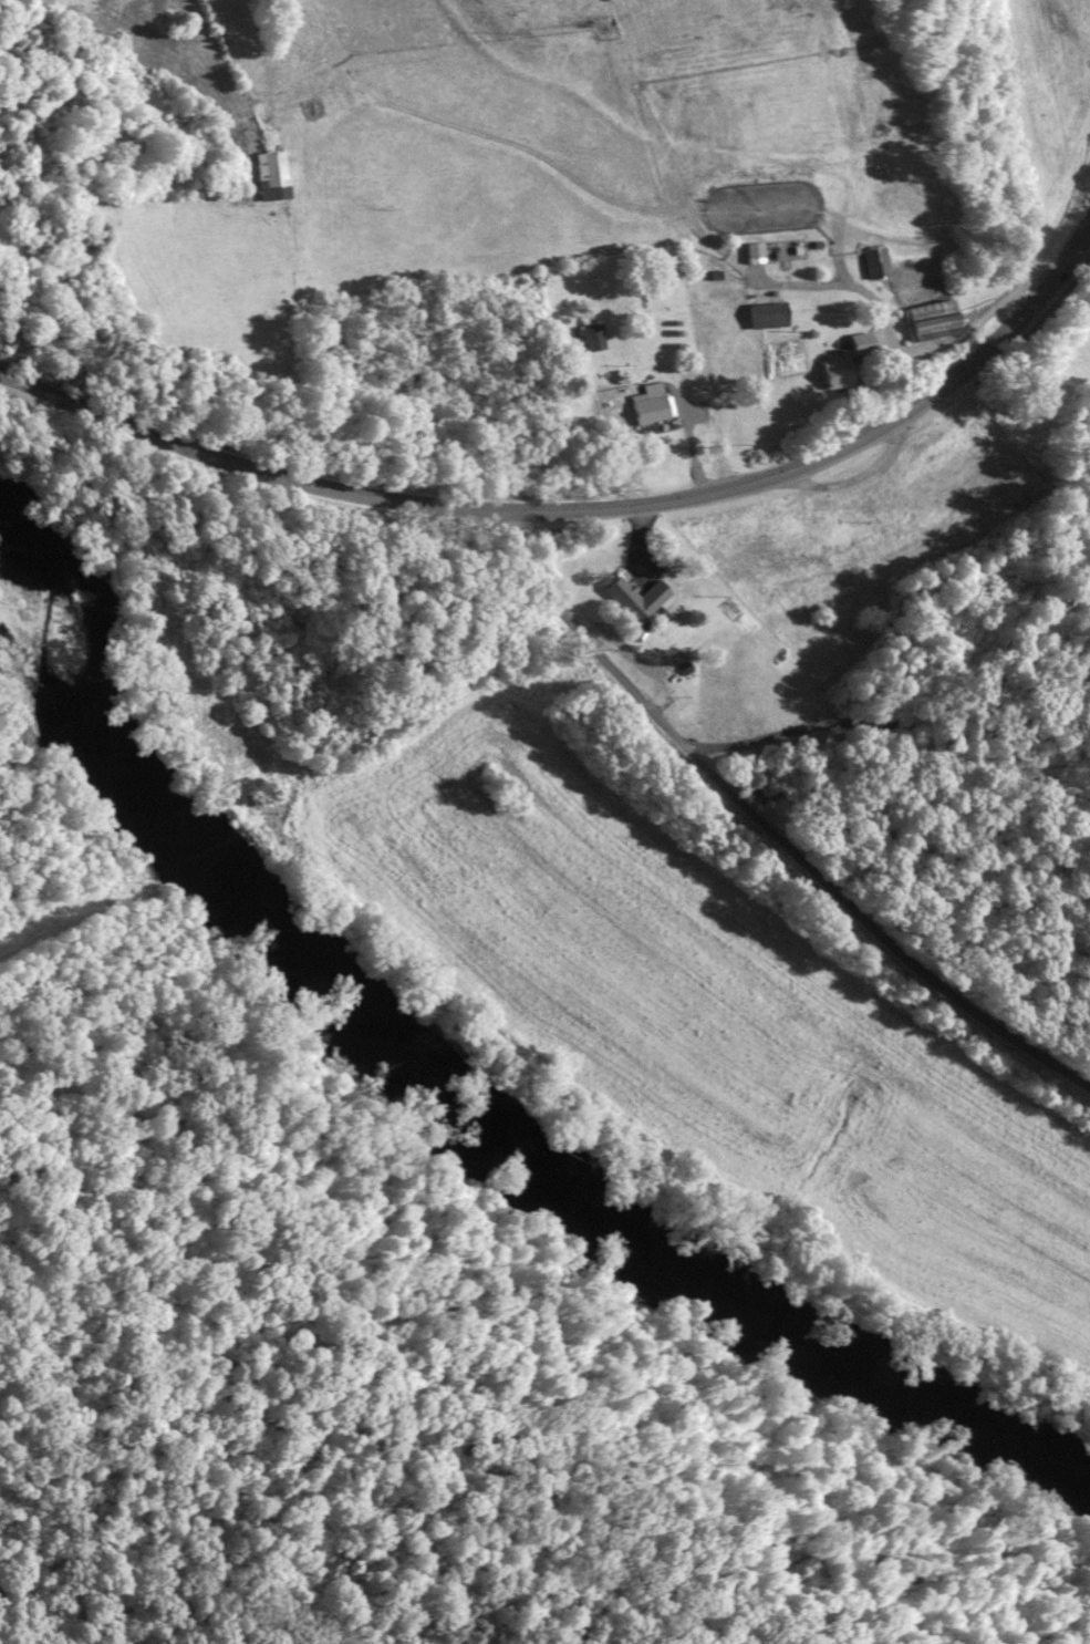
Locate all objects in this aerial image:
building: (269, 176)
building: (748, 250)
building: (869, 262)
building: (760, 314)
building: (922, 320)
building: (586, 337)
building: (828, 371)
building: (645, 404)
road: (849, 480)
road: (582, 508)
building: (630, 598)
road: (769, 824)
river: (451, 1063)

